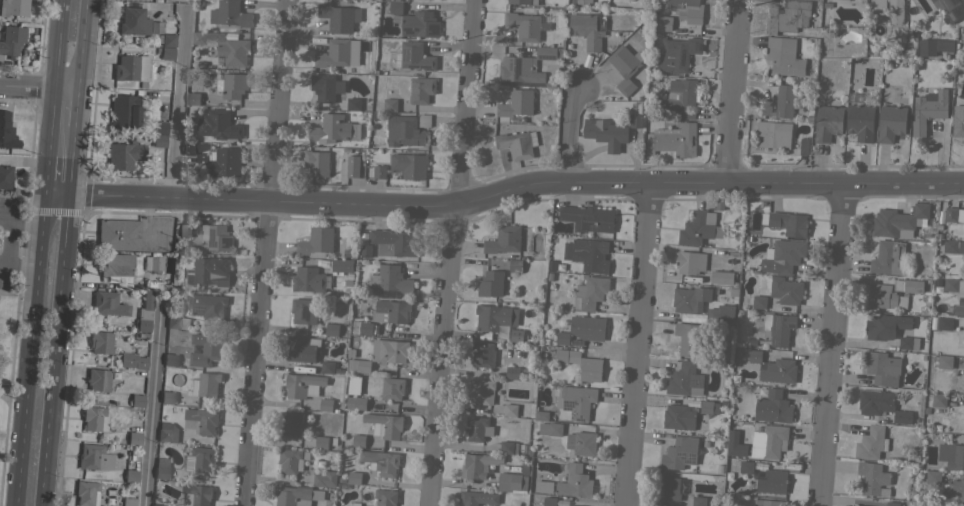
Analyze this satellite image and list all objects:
rooftop solar panel: (942, 0)
building: (519, 1)
building: (581, 2)
building: (395, 6)
building: (13, 7)
building: (683, 7)
building: (890, 9)
building: (949, 9)
rooftop solar panel: (956, 9)
building: (230, 14)
rooftop solar panel: (953, 15)
building: (788, 16)
building: (338, 17)
building: (133, 21)
building: (420, 24)
building: (523, 25)
building: (663, 25)
rooftop solar panel: (434, 26)
building: (587, 28)
rooftop solar panel: (409, 29)
building: (198, 37)
building: (166, 39)
building: (11, 40)
road: (79, 44)
rooftop solar panel: (699, 46)
building: (934, 46)
rooftop solar panel: (682, 49)
building: (234, 50)
building: (165, 52)
building: (545, 52)
rooftop solar panel: (404, 53)
building: (679, 53)
building: (336, 54)
building: (414, 56)
building: (784, 56)
rooftop solar panel: (545, 57)
rooftop solar panel: (681, 57)
rooftop solar panel: (509, 59)
rooftop solar panel: (509, 66)
building: (625, 66)
building: (132, 68)
building: (524, 68)
rooftop solar panel: (517, 69)
road: (53, 77)
building: (232, 85)
road: (37, 86)
building: (326, 86)
building: (421, 89)
road: (734, 89)
building: (681, 97)
building: (192, 98)
road: (177, 102)
building: (781, 102)
building: (352, 103)
building: (390, 104)
building: (515, 104)
road: (74, 106)
building: (928, 109)
building: (124, 110)
building: (424, 120)
building: (635, 120)
building: (958, 120)
building: (860, 121)
building: (827, 122)
building: (891, 122)
building: (218, 124)
building: (160, 127)
building: (333, 129)
building: (407, 131)
building: (6, 132)
road: (571, 132)
building: (606, 132)
building: (780, 137)
building: (671, 139)
building: (159, 140)
building: (517, 143)
building: (193, 147)
building: (124, 154)
road: (69, 159)
building: (201, 159)
building: (226, 162)
building: (316, 162)
building: (409, 164)
building: (352, 166)
building: (379, 171)
road: (45, 174)
building: (5, 178)
road: (503, 190)
traffic signals: (44, 193)
traffic signals: (67, 194)
building: (953, 214)
building: (588, 217)
building: (897, 219)
building: (789, 223)
road: (25, 226)
building: (700, 227)
building: (184, 230)
building: (963, 230)
building: (118, 234)
building: (216, 236)
parking lot: (8, 239)
road: (8, 239)
building: (504, 239)
building: (316, 242)
building: (394, 242)
building: (953, 246)
building: (365, 250)
road: (265, 252)
road: (453, 252)
building: (588, 254)
building: (787, 254)
building: (889, 257)
building: (153, 262)
building: (690, 262)
road: (21, 264)
building: (341, 265)
building: (515, 265)
building: (117, 266)
building: (210, 270)
road: (18, 274)
building: (721, 277)
building: (308, 279)
building: (390, 279)
building: (346, 280)
building: (491, 283)
park: (8, 284)
building: (954, 285)
building: (786, 290)
road: (8, 292)
building: (590, 292)
building: (892, 293)
building: (690, 298)
building: (759, 301)
building: (108, 303)
building: (209, 306)
building: (958, 310)
building: (302, 311)
building: (391, 311)
building: (144, 312)
building: (721, 312)
building: (495, 317)
building: (177, 322)
building: (944, 322)
building: (884, 326)
building: (364, 327)
building: (588, 327)
building: (779, 328)
building: (331, 329)
building: (516, 335)
building: (563, 337)
building: (690, 339)
building: (100, 342)
road: (640, 342)
building: (908, 342)
building: (963, 342)
road: (832, 344)
building: (302, 348)
road: (29, 349)
building: (205, 349)
road: (53, 350)
building: (389, 351)
building: (483, 354)
building: (754, 356)
building: (170, 359)
building: (132, 360)
building: (945, 361)
building: (581, 363)
building: (361, 365)
building: (327, 366)
building: (881, 367)
building: (779, 370)
building: (512, 372)
building: (683, 378)
building: (98, 379)
building: (205, 384)
building: (303, 385)
building: (392, 388)
building: (963, 388)
building: (482, 391)
road: (3, 397)
building: (167, 397)
building: (137, 400)
road: (155, 400)
building: (576, 400)
building: (939, 400)
rooftop solar panel: (559, 402)
building: (359, 403)
rooftop solar panel: (567, 403)
building: (325, 404)
building: (881, 405)
building: (708, 406)
building: (773, 407)
building: (510, 409)
rooftop solar panel: (573, 413)
building: (541, 415)
rooftop solar panel: (580, 417)
building: (678, 417)
building: (94, 418)
building: (201, 420)
building: (291, 423)
building: (385, 425)
building: (963, 427)
building: (477, 428)
building: (550, 428)
building: (167, 432)
building: (134, 438)
building: (358, 440)
building: (771, 440)
building: (321, 442)
building: (581, 442)
building: (871, 442)
building: (733, 445)
building: (508, 447)
building: (680, 453)
rooftop solar panel: (681, 455)
building: (951, 455)
rooftop solar panel: (692, 456)
building: (94, 457)
building: (202, 458)
building: (291, 460)
building: (380, 462)
building: (479, 464)
building: (745, 467)
building: (161, 468)
building: (131, 475)
building: (354, 477)
building: (872, 477)
building: (933, 477)
building: (325, 479)
building: (511, 482)
building: (574, 482)
building: (772, 482)
building: (541, 488)
building: (669, 488)
building: (957, 488)
building: (86, 493)
building: (196, 495)
building: (292, 496)
building: (385, 497)
building: (476, 497)
building: (128, 501)
building: (549, 501)
building: (698, 501)
building: (768, 503)
building: (892, 503)
building: (353, 504)
building: (157, 505)
building: (571, 505)
building: (858, 505)

